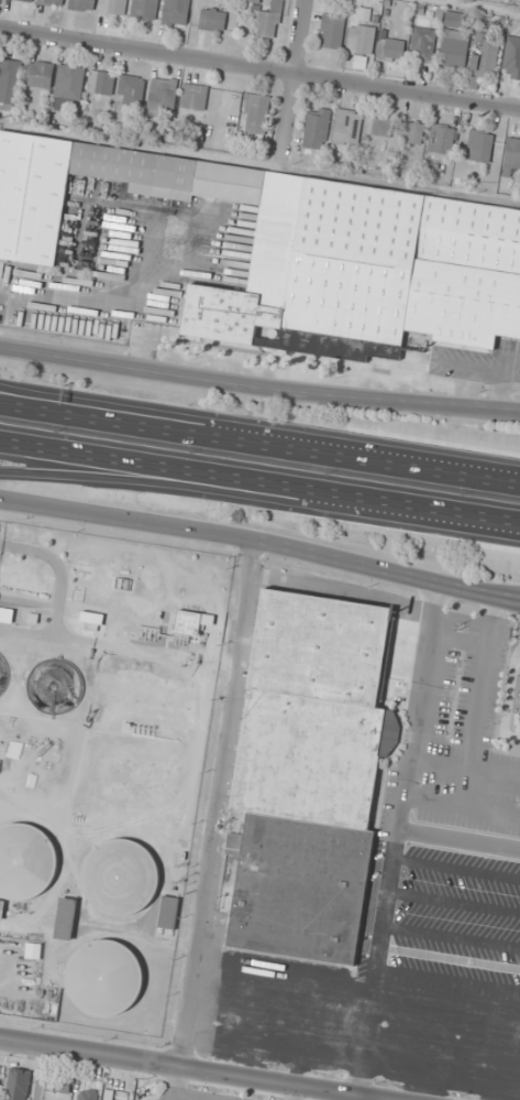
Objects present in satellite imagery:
building: (19, 0)
building: (53, 2)
building: (82, 4)
building: (113, 8)
building: (144, 9)
building: (176, 12)
building: (212, 20)
building: (269, 21)
building: (457, 21)
building: (332, 31)
building: (361, 40)
building: (423, 44)
building: (391, 50)
building: (455, 50)
building: (486, 55)
building: (511, 58)
road: (259, 69)
building: (40, 74)
building: (10, 81)
building: (70, 81)
building: (102, 83)
road: (292, 86)
building: (131, 90)
building: (163, 95)
building: (193, 100)
building: (256, 116)
building: (379, 126)
building: (347, 127)
building: (317, 129)
building: (412, 132)
building: (442, 140)
building: (480, 146)
building: (512, 152)
building: (301, 251)
road: (258, 386)
road: (145, 412)
road: (259, 440)
road: (259, 479)
road: (247, 495)
road: (261, 541)
building: (188, 622)
road: (103, 649)
building: (1, 680)
building: (517, 697)
building: (310, 774)
building: (26, 862)
building: (120, 878)
building: (1, 908)
building: (168, 913)
building: (66, 918)
building: (104, 979)
road: (191, 1069)
road: (42, 1072)
building: (0, 1075)
building: (19, 1085)
building: (58, 1085)
building: (87, 1094)
building: (108, 1099)

